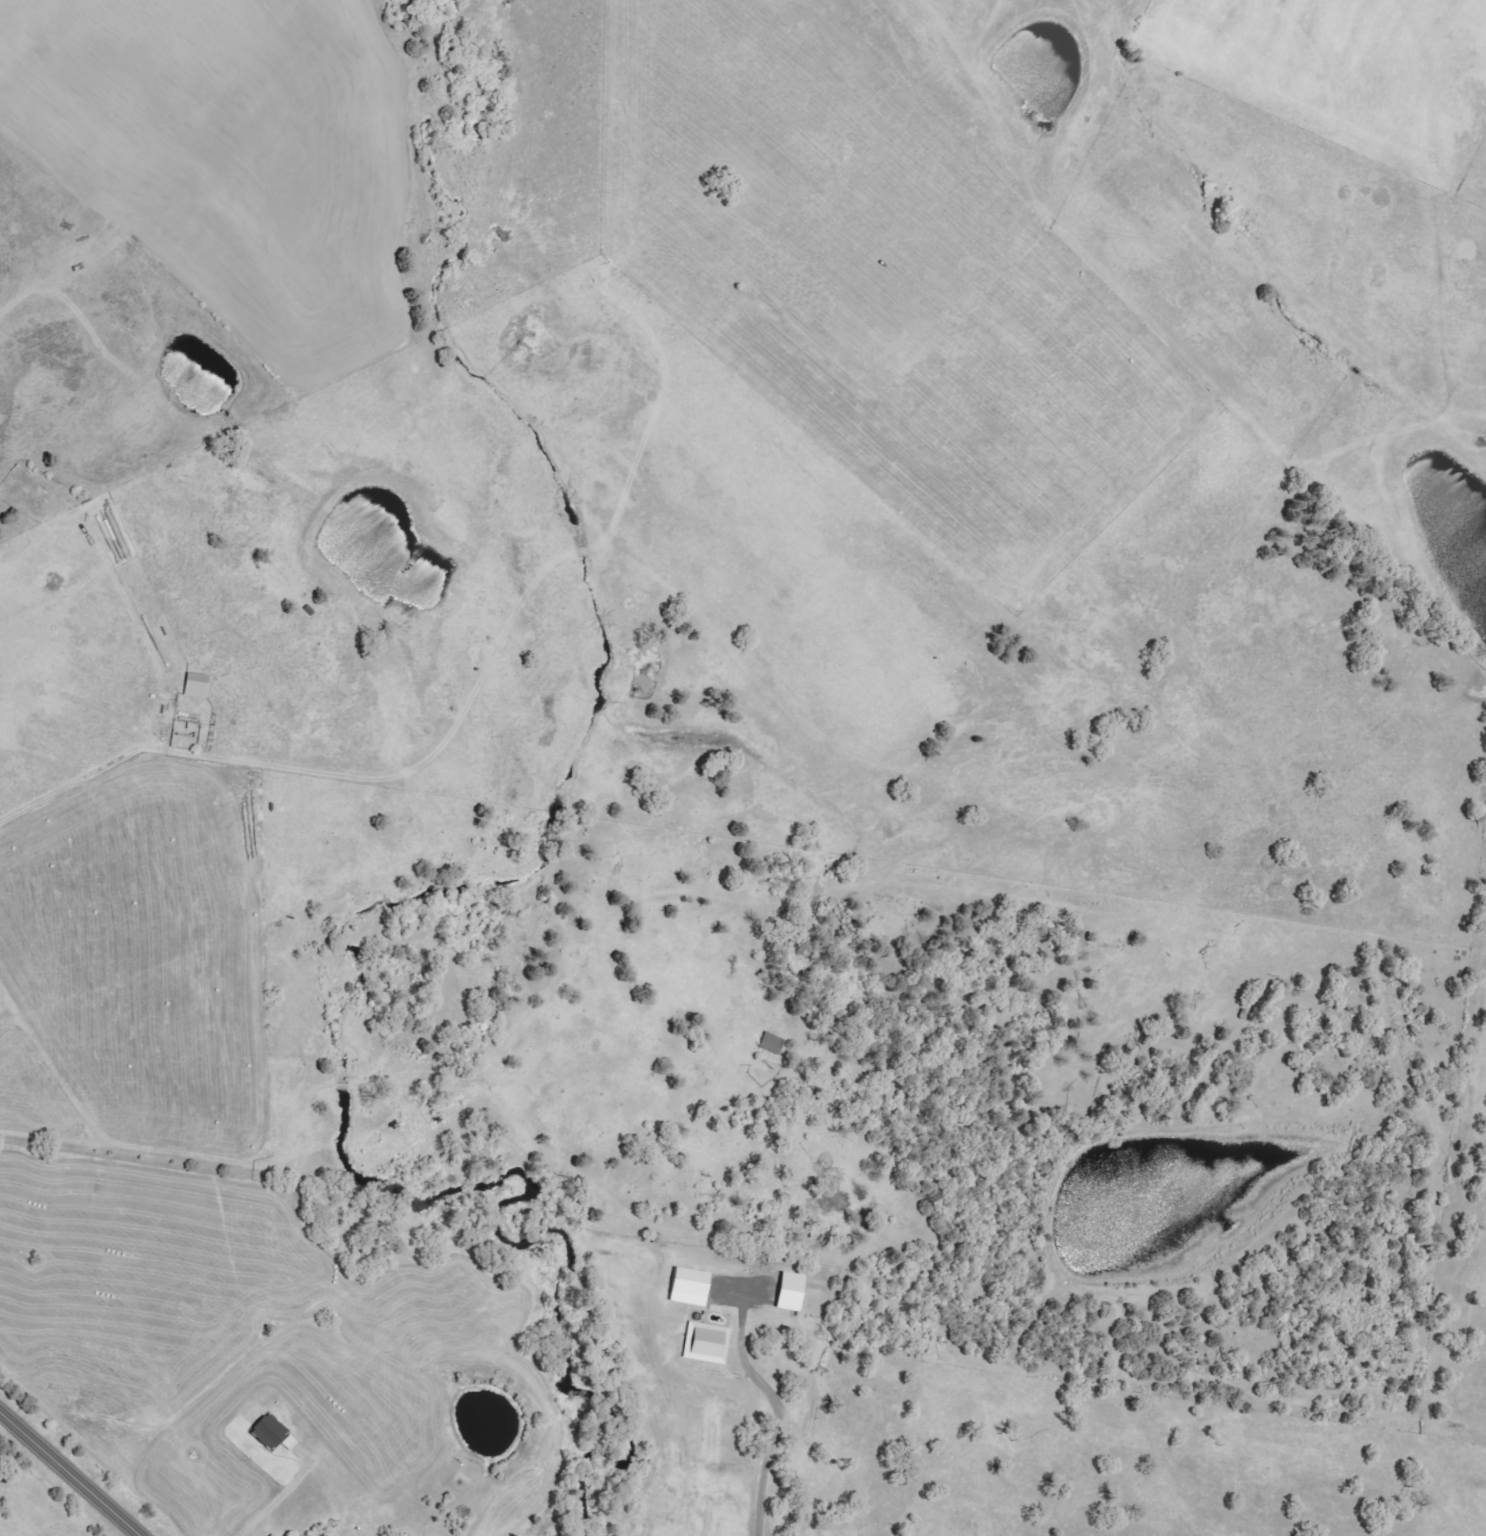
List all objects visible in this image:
building: (197, 685)
building: (772, 1043)
building: (689, 1287)
building: (791, 1292)
building: (706, 1343)
road: (777, 1411)
building: (273, 1434)
road: (72, 1473)
road: (1456, 1521)
building: (271, 1535)

